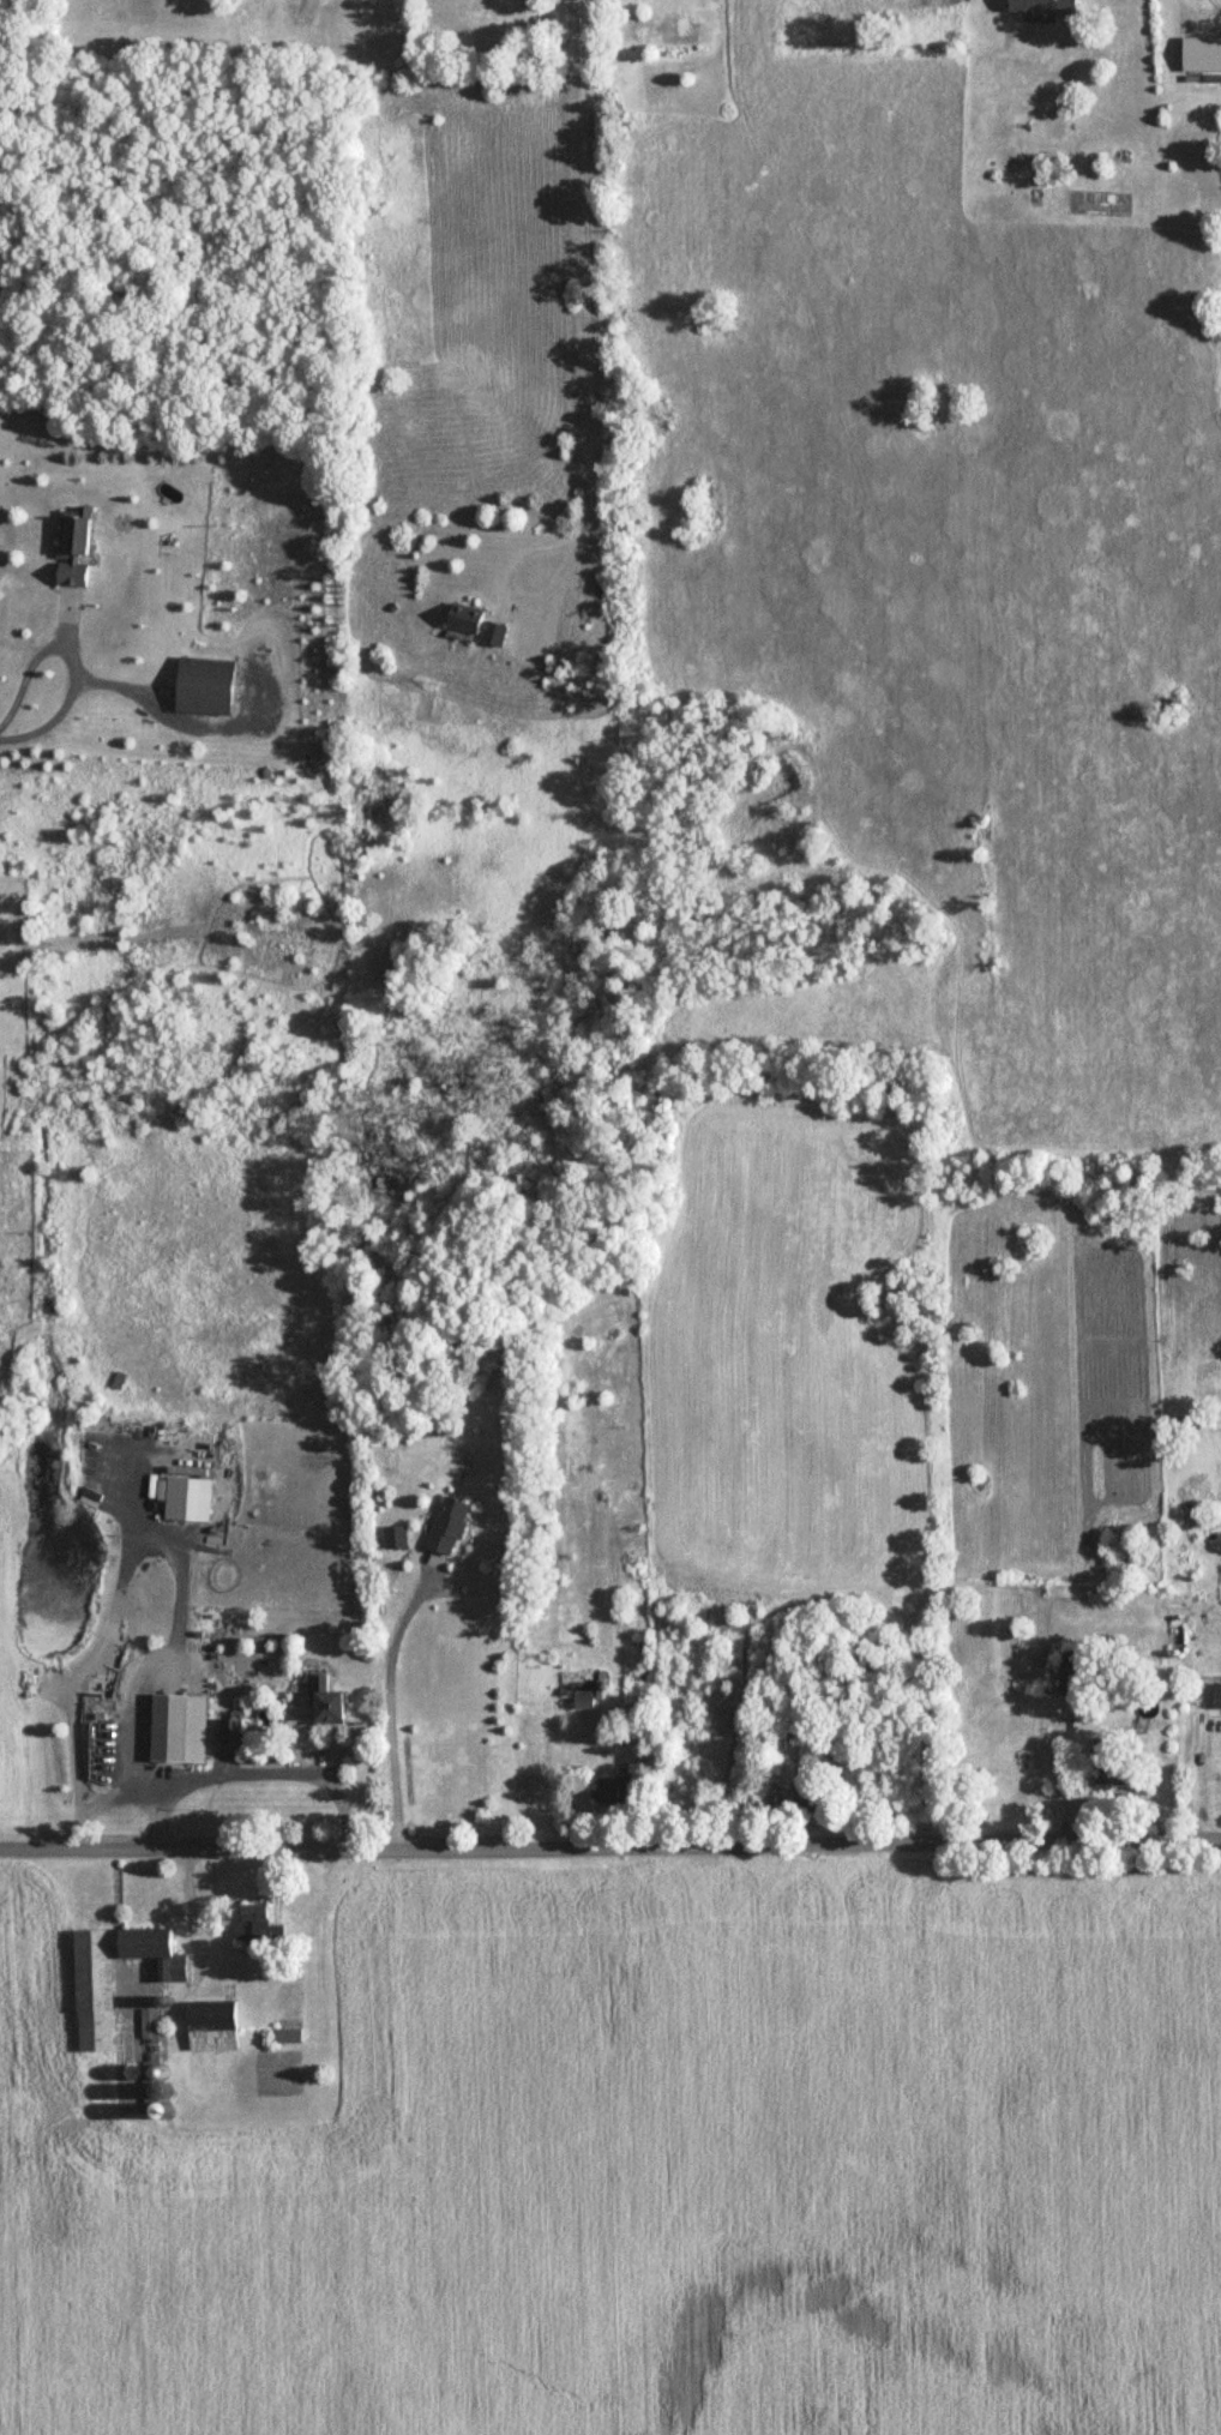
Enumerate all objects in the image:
building: (1039, 7)
road: (587, 275)
building: (71, 551)
road: (515, 590)
building: (459, 620)
building: (491, 637)
building: (202, 689)
road: (13, 729)
building: (119, 1382)
building: (445, 1527)
road: (78, 1658)
building: (107, 1694)
building: (1216, 1697)
building: (583, 1700)
building: (321, 1701)
road: (393, 1712)
building: (164, 1730)
building: (227, 1734)
building: (1106, 1775)
road: (1199, 1785)
building: (608, 1791)
road: (161, 1809)
road: (71, 1816)
road: (609, 1840)
road: (192, 1910)
building: (255, 1929)
building: (94, 2018)
building: (213, 2027)
building: (289, 2037)
building: (151, 2040)

